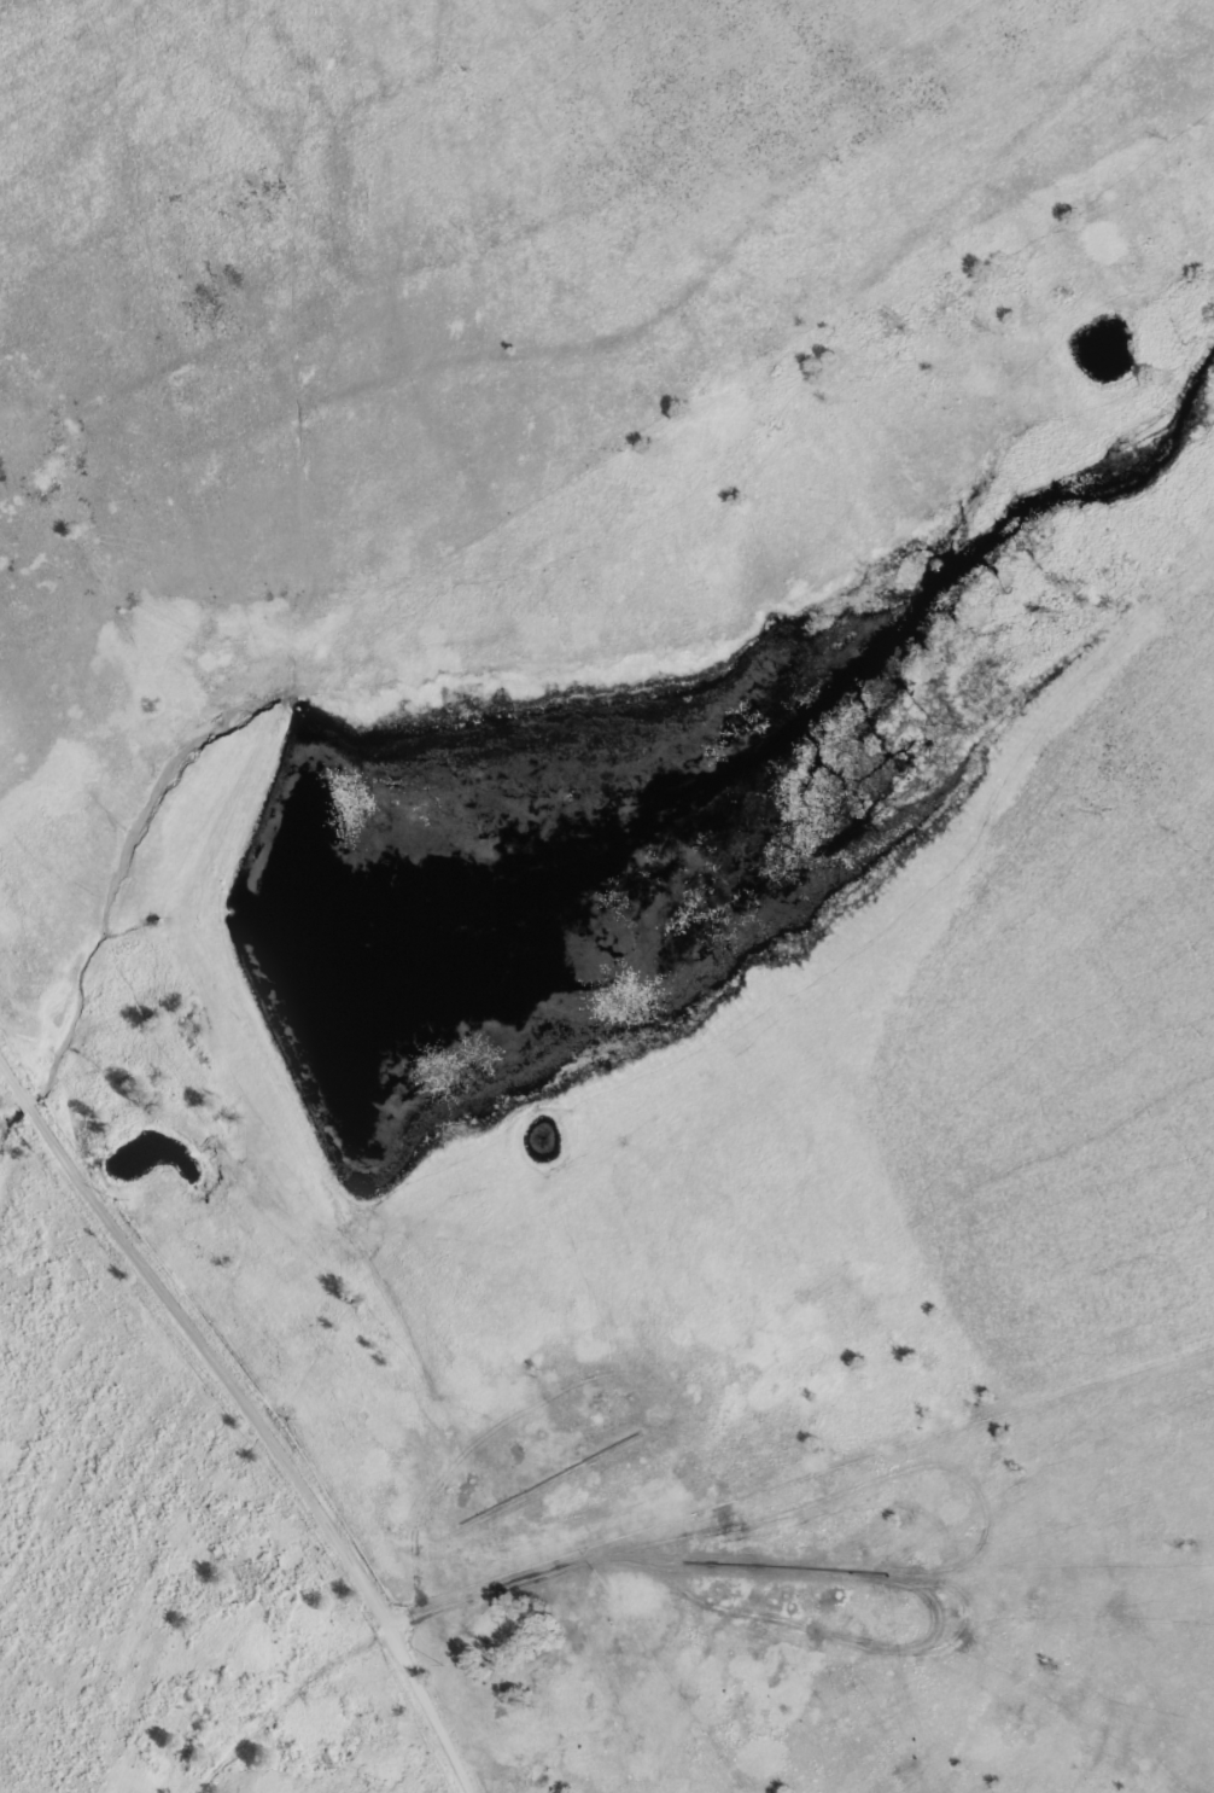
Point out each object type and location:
dam: (240, 986)
road: (251, 1416)

